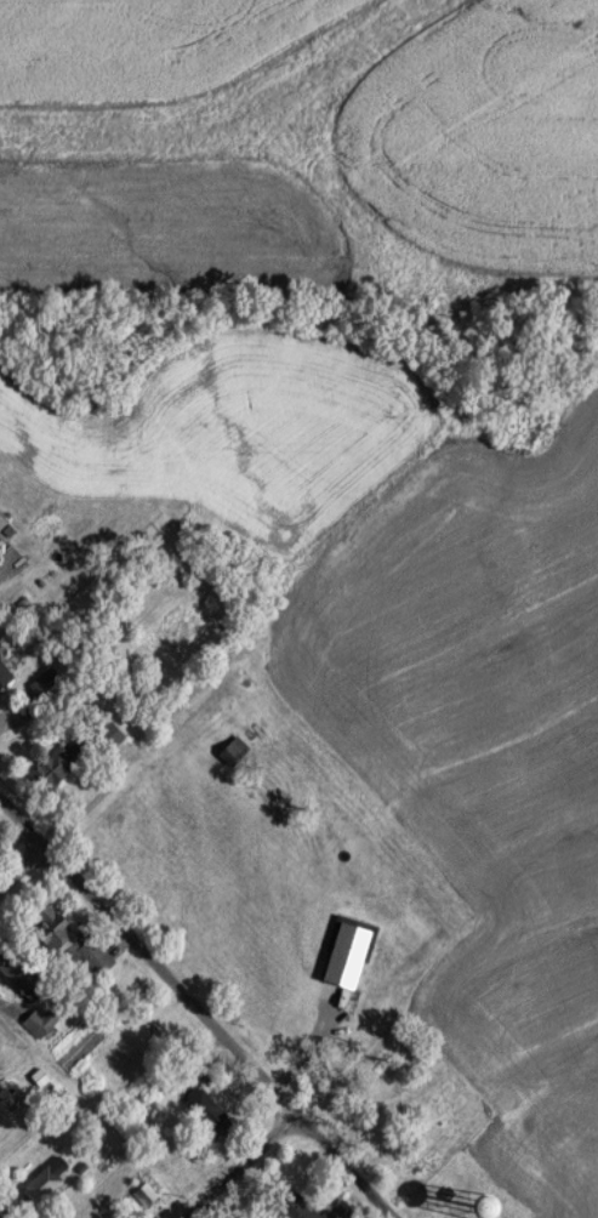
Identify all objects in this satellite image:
road: (222, 96)
building: (4, 522)
building: (5, 676)
building: (50, 683)
building: (237, 751)
building: (66, 762)
road: (108, 772)
building: (1, 836)
building: (76, 941)
building: (23, 975)
road: (197, 1006)
building: (42, 1023)
building: (210, 1106)
road: (240, 1166)
building: (51, 1176)
building: (149, 1194)
building: (300, 1206)
building: (343, 1210)
water tower: (478, 1212)

